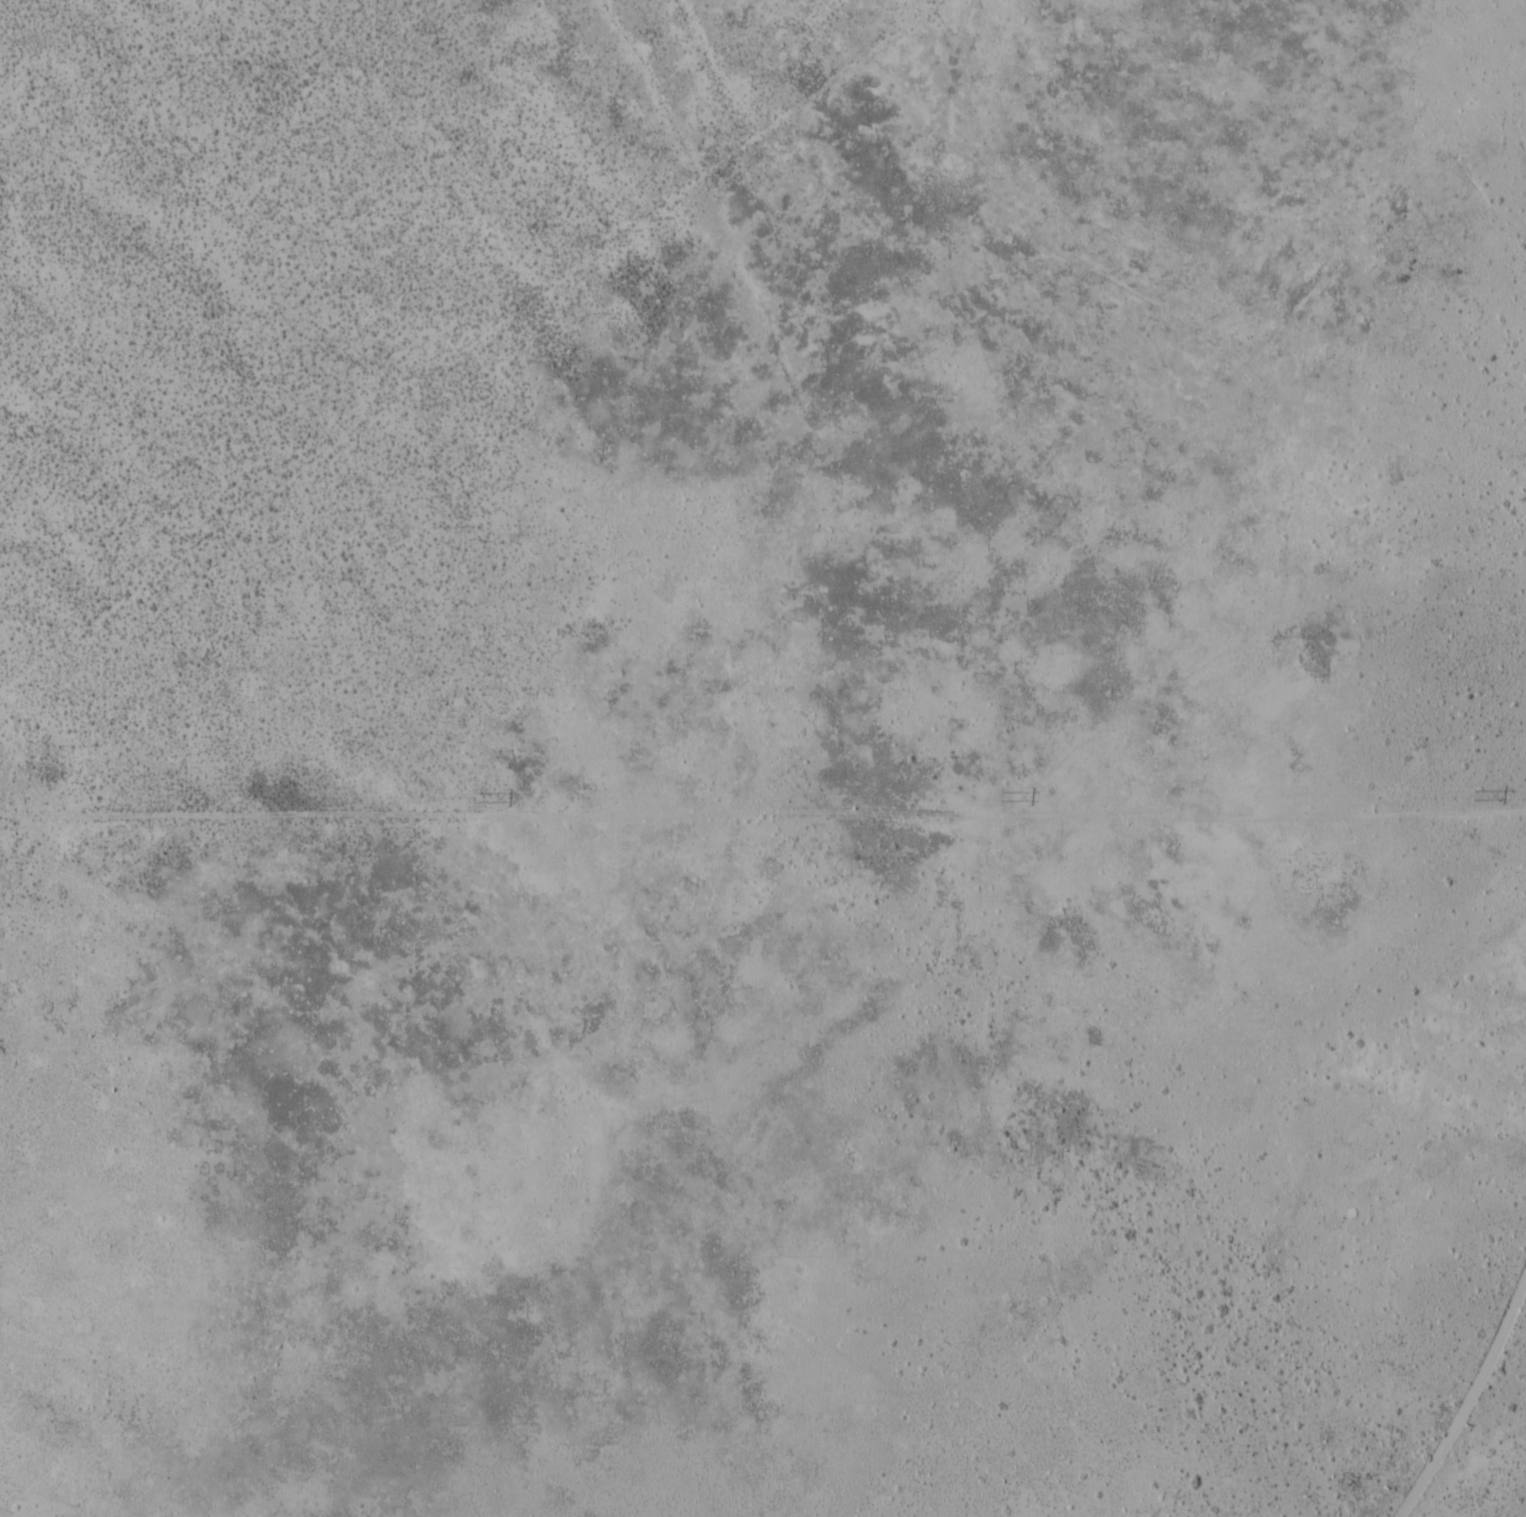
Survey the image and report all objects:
power tower: (1472, 792)
power tower: (1001, 794)
power tower: (474, 799)
road: (763, 814)
road: (1460, 1358)

